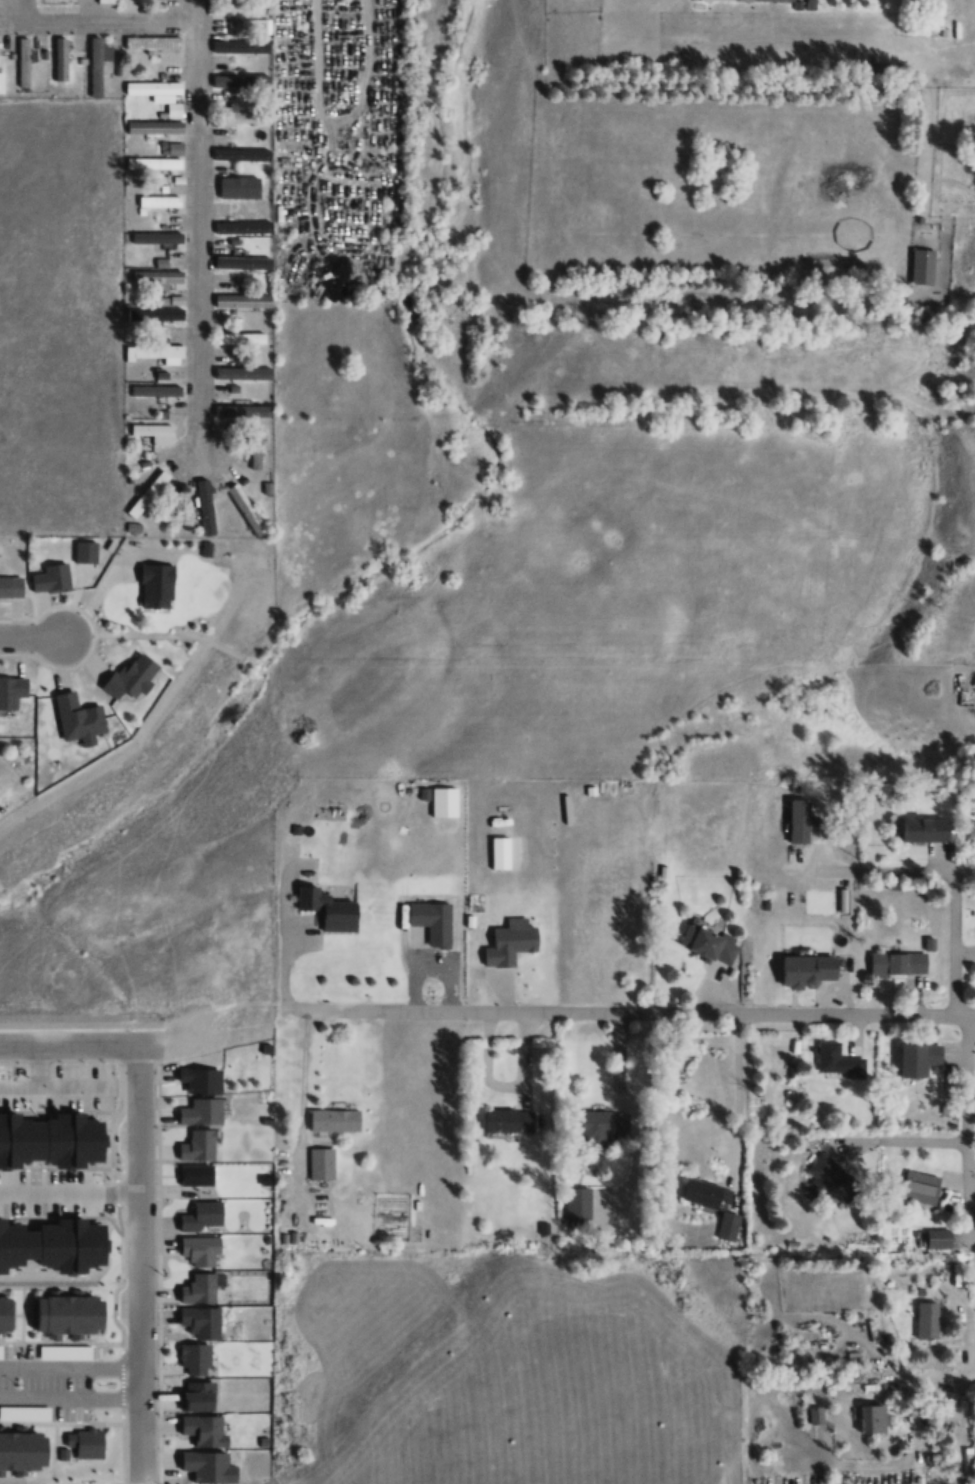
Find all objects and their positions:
building: (769, 0)
building: (242, 8)
road: (92, 16)
building: (153, 42)
building: (240, 46)
building: (25, 62)
building: (96, 66)
building: (238, 76)
building: (2, 81)
building: (155, 90)
building: (240, 116)
building: (155, 126)
building: (240, 154)
building: (153, 162)
road: (337, 178)
building: (239, 187)
building: (160, 200)
road: (195, 225)
building: (240, 228)
building: (157, 237)
building: (236, 264)
building: (923, 266)
building: (158, 276)
building: (243, 301)
building: (158, 314)
building: (240, 338)
building: (156, 353)
building: (239, 373)
building: (156, 390)
building: (240, 411)
building: (152, 429)
building: (255, 456)
building: (148, 493)
building: (206, 507)
building: (247, 510)
building: (11, 586)
road: (29, 636)
road: (133, 637)
building: (133, 677)
building: (12, 691)
building: (79, 719)
road: (147, 726)
building: (801, 821)
building: (926, 830)
road: (895, 868)
building: (328, 909)
building: (432, 921)
building: (709, 942)
road: (955, 946)
building: (898, 962)
building: (810, 969)
road: (629, 1016)
road: (98, 1043)
building: (920, 1058)
building: (837, 1059)
building: (198, 1081)
building: (199, 1112)
road: (963, 1117)
building: (335, 1120)
building: (509, 1120)
building: (601, 1128)
building: (196, 1146)
building: (321, 1163)
building: (193, 1175)
building: (829, 1180)
building: (919, 1187)
building: (707, 1193)
building: (582, 1204)
building: (199, 1218)
building: (197, 1251)
road: (143, 1263)
building: (195, 1290)
building: (66, 1314)
building: (5, 1315)
building: (927, 1318)
building: (197, 1323)
building: (190, 1359)
road: (936, 1376)
building: (874, 1381)
building: (193, 1397)
building: (815, 1415)
building: (874, 1418)
building: (23, 1454)

